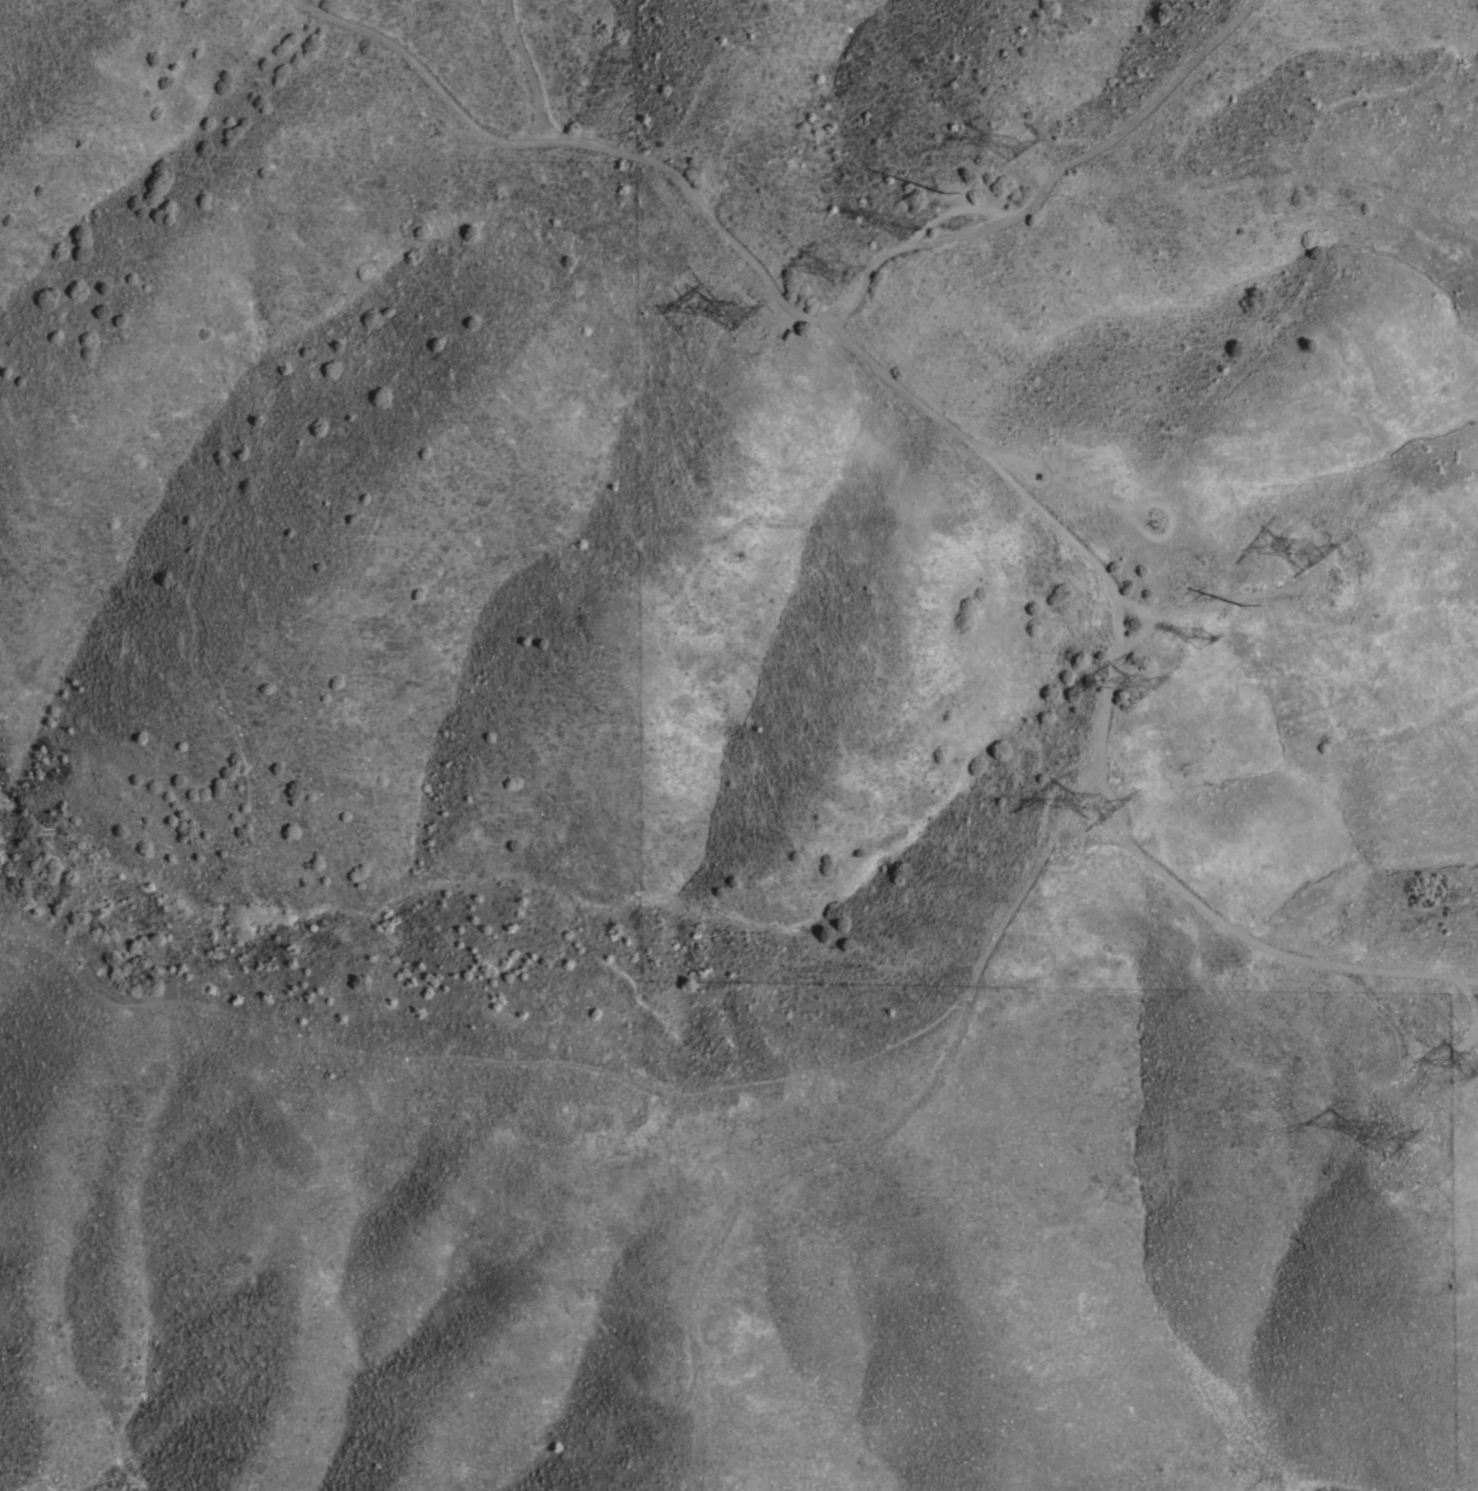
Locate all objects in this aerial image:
power tower: (1004, 150)
power tower: (945, 196)
power tower: (904, 233)
power tower: (833, 273)
power tower: (732, 316)
power tower: (1301, 556)
power tower: (1246, 605)
power tower: (1202, 640)
power tower: (1132, 690)
road: (1317, 785)
power tower: (1108, 813)
power tower: (1463, 1066)
power tower: (1393, 1144)

